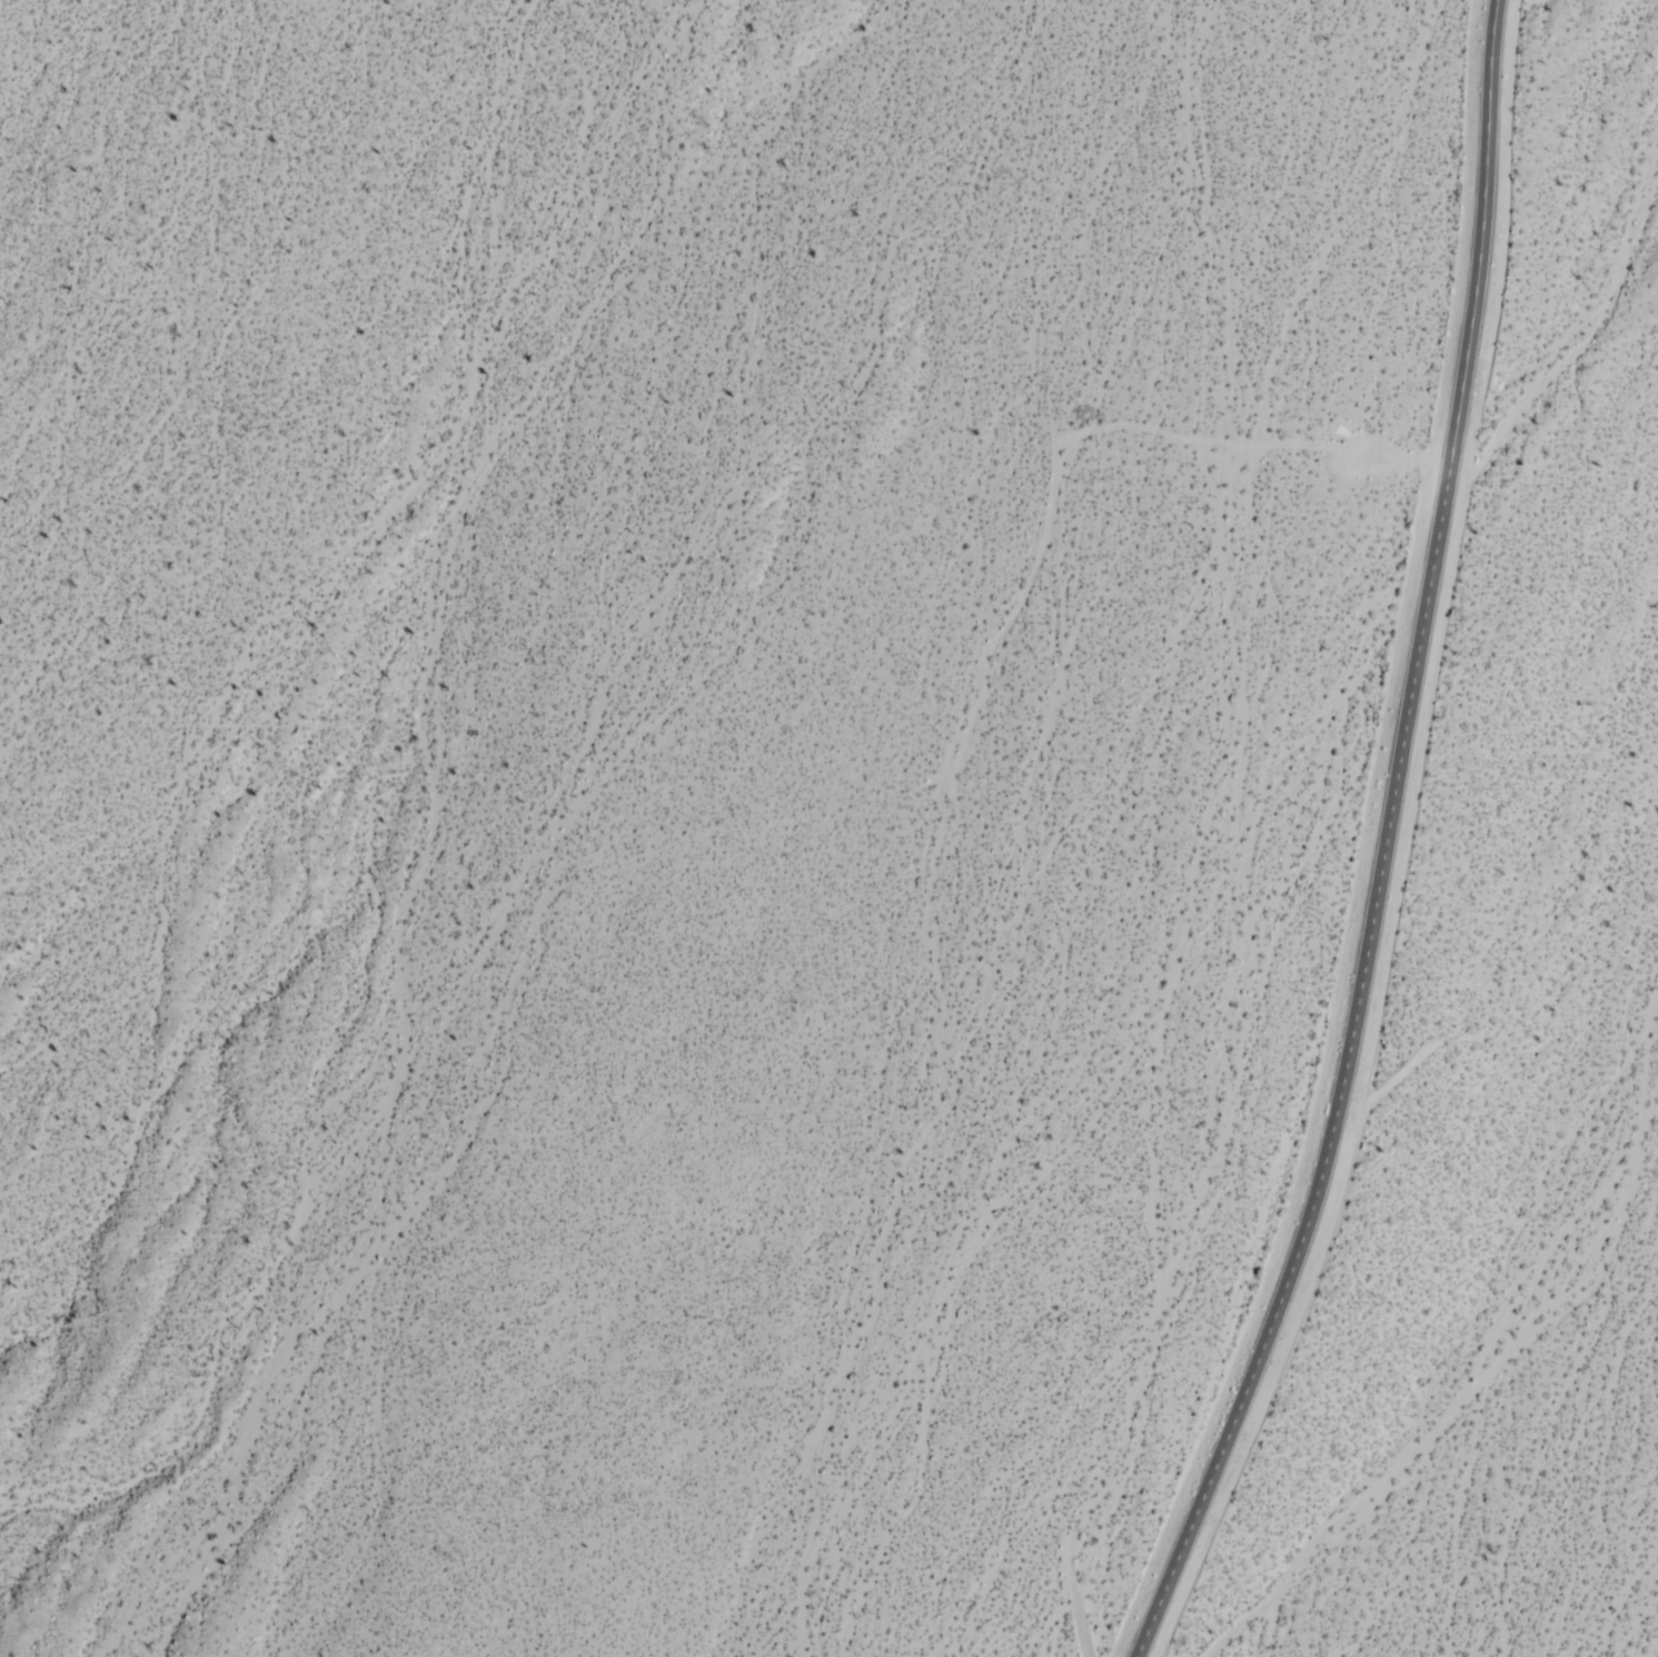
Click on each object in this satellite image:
road: (1387, 844)

